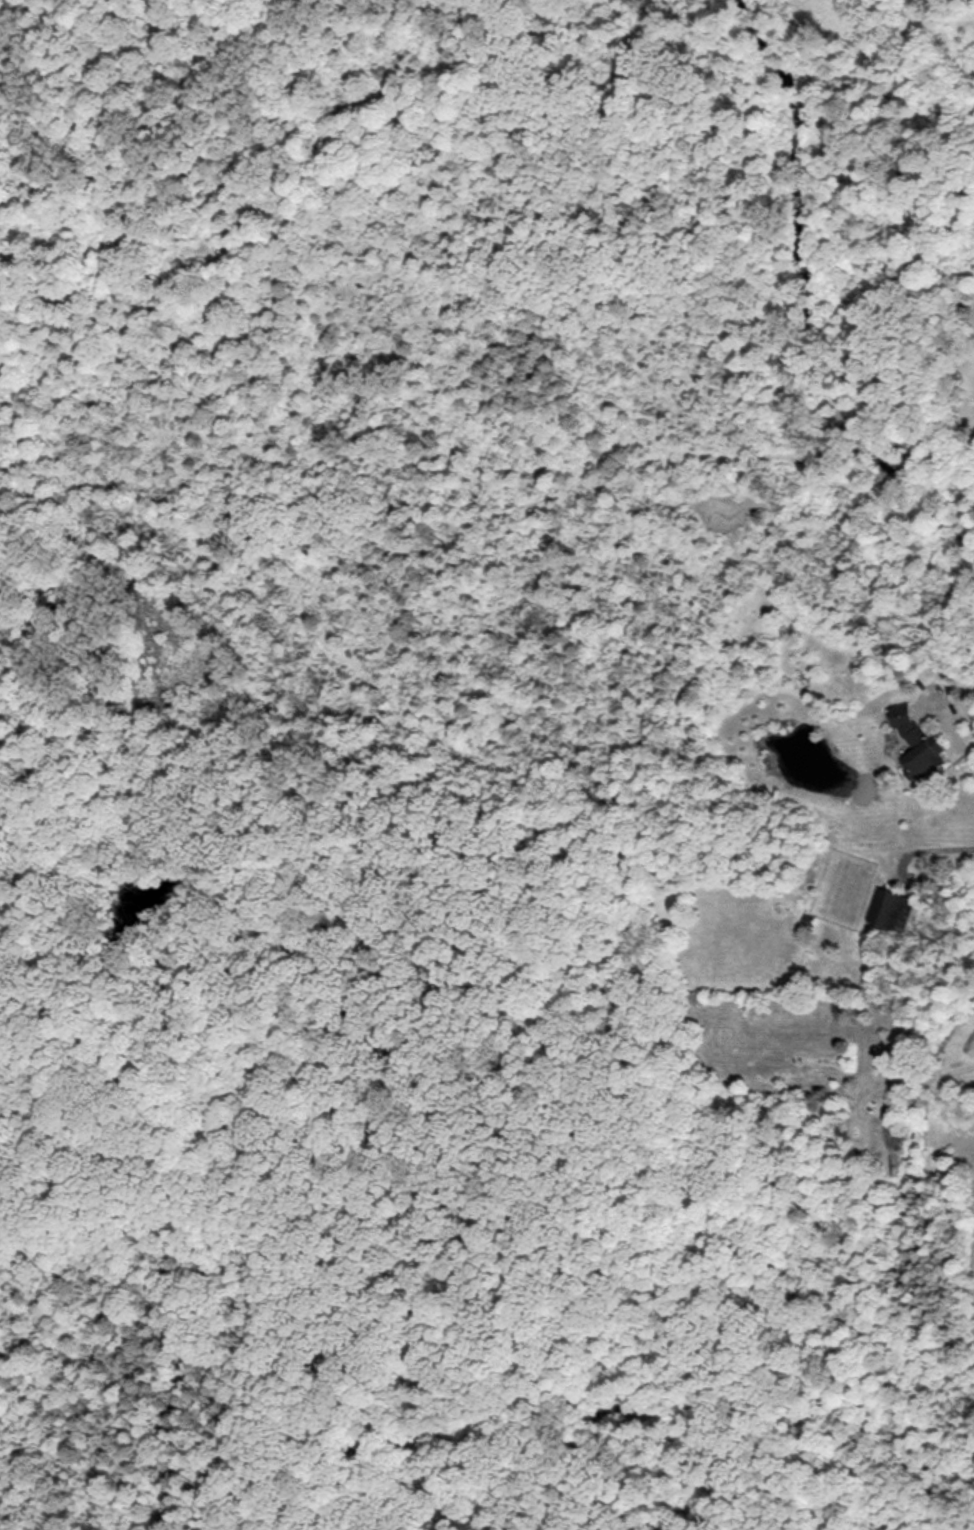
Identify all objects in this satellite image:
road: (952, 732)
building: (917, 744)
road: (930, 850)
building: (889, 909)

